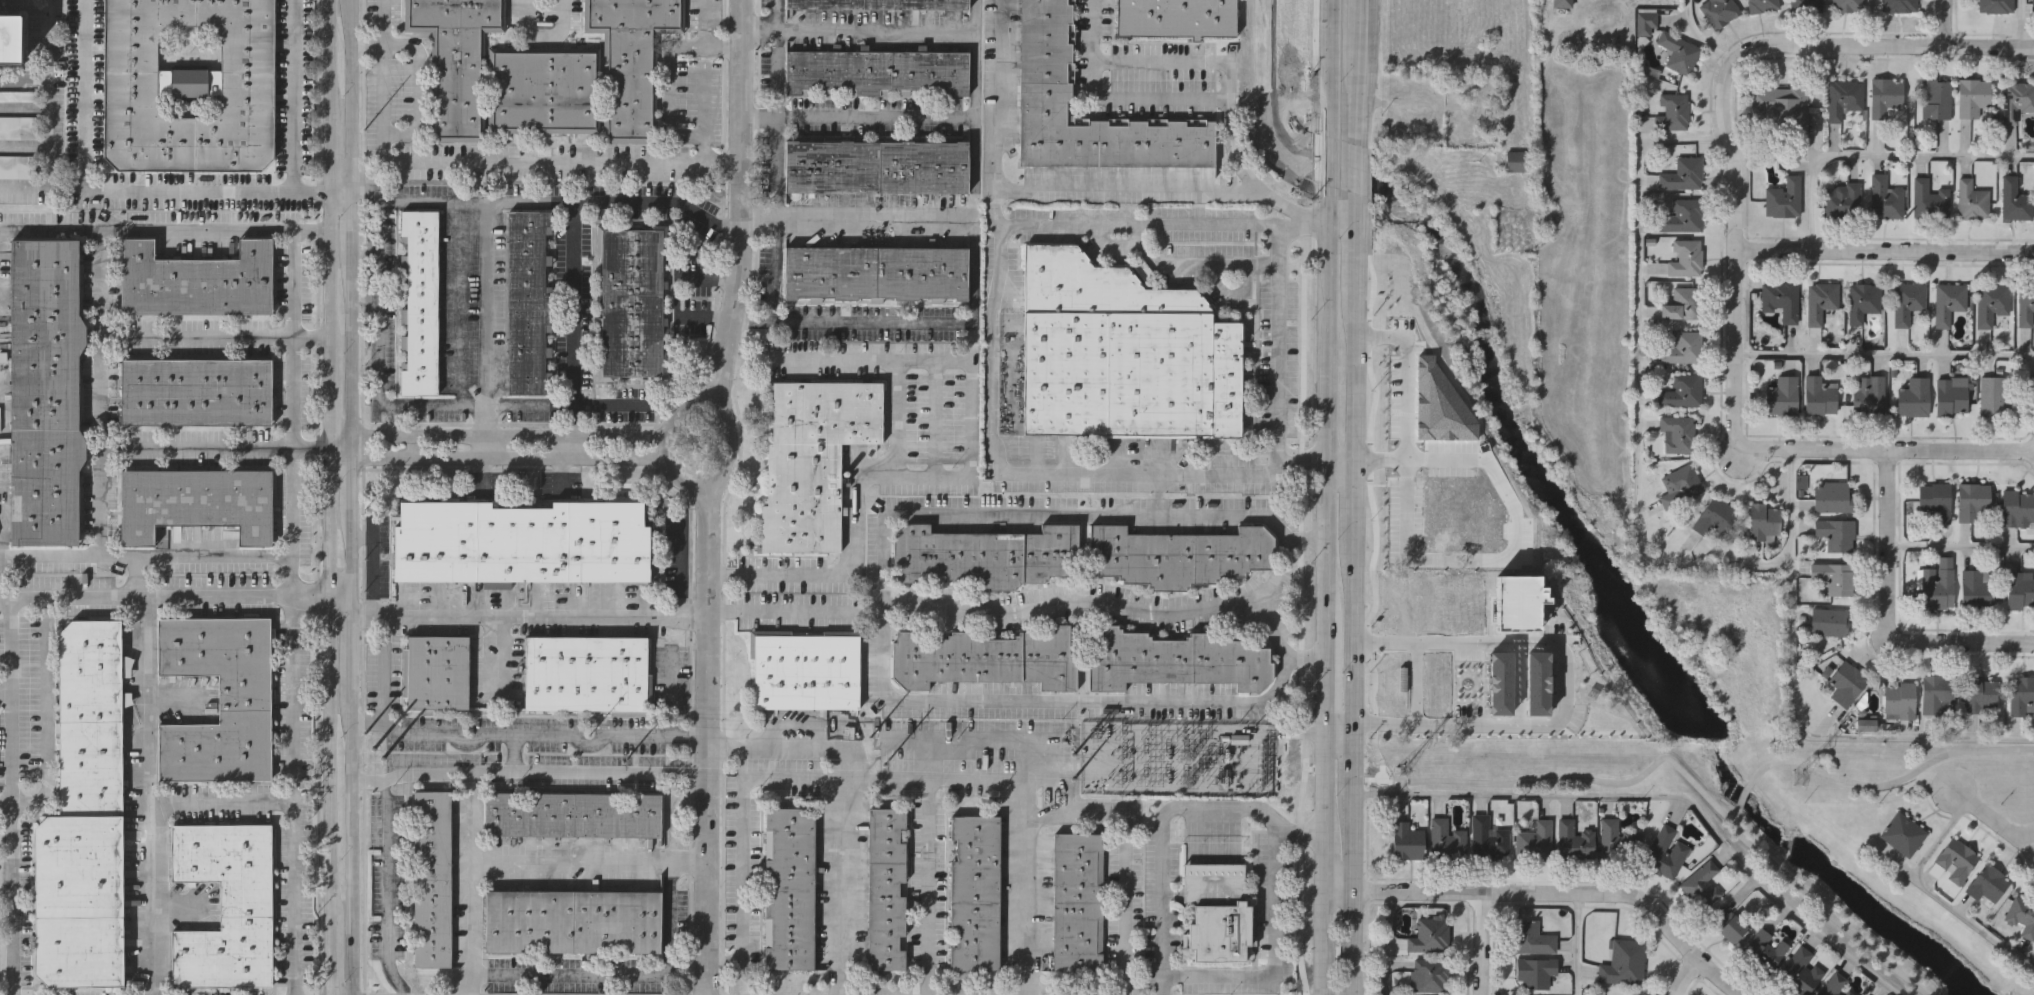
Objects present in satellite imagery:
building: (1561, 3)
building: (876, 4)
building: (1760, 5)
building: (1804, 5)
building: (1845, 5)
building: (1898, 5)
building: (2032, 5)
building: (1994, 6)
building: (1718, 11)
road: (1355, 13)
building: (1173, 18)
road: (1872, 22)
road: (1942, 22)
building: (1643, 23)
road: (2022, 23)
road: (876, 29)
road: (545, 35)
road: (1700, 37)
road: (777, 40)
building: (9, 41)
road: (703, 43)
road: (363, 45)
road: (1354, 50)
building: (1677, 52)
building: (455, 58)
building: (630, 59)
road: (1181, 62)
road: (1326, 66)
building: (876, 70)
building: (1046, 75)
road: (23, 82)
building: (188, 88)
building: (543, 91)
road: (291, 96)
road: (378, 96)
building: (18, 97)
parking lot: (18, 97)
building: (1884, 97)
road: (1724, 98)
building: (1842, 98)
building: (1971, 98)
building: (1934, 99)
building: (2016, 101)
road: (1190, 108)
road: (1353, 108)
building: (1781, 108)
road: (974, 109)
building: (1672, 113)
road: (47, 115)
road: (874, 116)
road: (758, 119)
road: (775, 122)
building: (18, 127)
parking lot: (18, 127)
road: (675, 133)
road: (1880, 156)
building: (1517, 161)
road: (1326, 163)
road: (540, 164)
road: (709, 164)
building: (16, 165)
parking lot: (16, 165)
building: (876, 167)
road: (1352, 172)
building: (1682, 175)
road: (63, 184)
road: (1122, 188)
road: (94, 191)
road: (335, 191)
road: (308, 192)
road: (742, 196)
building: (1883, 198)
road: (618, 199)
building: (1783, 199)
building: (1841, 200)
building: (1928, 200)
building: (1971, 201)
building: (2014, 201)
road: (776, 208)
building: (1681, 215)
road: (1158, 226)
road: (1339, 226)
road: (162, 227)
road: (1131, 235)
road: (487, 247)
road: (1884, 249)
building: (1685, 256)
road: (1351, 257)
road: (1173, 264)
building: (876, 272)
road: (973, 273)
building: (197, 278)
road: (101, 283)
road: (677, 292)
building: (1781, 298)
building: (1821, 299)
building: (1863, 299)
building: (1907, 300)
building: (1949, 300)
building: (1681, 301)
building: (1991, 302)
road: (459, 303)
building: (526, 303)
road: (571, 303)
building: (630, 303)
building: (418, 304)
building: (2025, 304)
road: (309, 336)
road: (972, 338)
road: (1279, 344)
building: (1682, 346)
road: (378, 351)
road: (99, 353)
building: (1120, 354)
road: (1883, 356)
building: (2030, 382)
road: (1351, 386)
road: (1638, 387)
building: (198, 389)
building: (1681, 392)
building: (47, 394)
building: (1994, 394)
building: (1951, 395)
building: (1782, 396)
building: (1868, 396)
road: (1403, 397)
building: (1819, 397)
building: (1912, 397)
road: (1324, 398)
road: (543, 405)
road: (624, 405)
road: (991, 409)
road: (892, 415)
building: (1677, 433)
road: (493, 434)
road: (662, 443)
road: (196, 444)
road: (310, 444)
road: (487, 445)
road: (570, 445)
road: (1884, 448)
road: (736, 452)
road: (492, 456)
building: (814, 458)
road: (969, 467)
building: (1679, 485)
building: (1833, 496)
road: (327, 497)
road: (350, 497)
building: (1935, 500)
building: (1973, 500)
building: (196, 505)
building: (2017, 507)
road: (1350, 513)
building: (1714, 517)
building: (1762, 522)
building: (1836, 533)
road: (362, 535)
road: (295, 538)
building: (522, 542)
road: (1960, 549)
building: (984, 556)
building: (1179, 556)
road: (678, 559)
road: (374, 570)
road: (291, 572)
road: (140, 574)
building: (1831, 577)
building: (1937, 585)
road: (340, 586)
road: (165, 588)
building: (1976, 589)
building: (2018, 591)
road: (1265, 595)
road: (1075, 599)
building: (1407, 601)
building: (1456, 603)
building: (1515, 604)
road: (528, 606)
road: (774, 608)
road: (1886, 615)
road: (884, 618)
building: (1829, 623)
building: (1400, 631)
road: (1350, 643)
building: (985, 659)
building: (1175, 661)
building: (806, 667)
road: (1324, 670)
building: (439, 672)
building: (588, 674)
road: (1567, 676)
building: (1394, 681)
building: (1431, 682)
road: (4, 683)
building: (1497, 683)
building: (1847, 683)
building: (1534, 684)
building: (1938, 693)
building: (1979, 693)
building: (2021, 694)
road: (145, 695)
road: (668, 698)
building: (220, 701)
building: (1899, 701)
building: (1412, 707)
road: (1792, 709)
building: (1551, 711)
road: (366, 721)
road: (1350, 729)
road: (1337, 737)
road: (484, 738)
road: (907, 742)
road: (979, 744)
road: (788, 745)
road: (706, 754)
road: (512, 756)
power substation: (1173, 758)
road: (741, 763)
road: (1676, 764)
power tower: (1403, 770)
road: (547, 774)
road: (930, 778)
road: (1064, 778)
power tower: (1798, 779)
road: (1324, 783)
road: (1895, 786)
road: (291, 791)
road: (9, 792)
road: (1661, 797)
road: (1744, 800)
road: (5, 802)
building: (574, 814)
road: (1160, 817)
road: (1993, 817)
building: (83, 819)
road: (470, 819)
road: (159, 828)
building: (1903, 833)
building: (1446, 839)
building: (1487, 839)
building: (1406, 840)
building: (1534, 840)
building: (1574, 840)
building: (1615, 842)
building: (1664, 854)
road: (1324, 860)
building: (1956, 860)
road: (522, 862)
road: (1349, 866)
road: (387, 868)
building: (432, 877)
building: (1700, 884)
building: (1988, 885)
road: (838, 886)
road: (928, 886)
building: (791, 887)
building: (886, 890)
road: (1553, 892)
building: (975, 894)
road: (1935, 899)
building: (1077, 902)
road: (1029, 903)
building: (224, 905)
building: (1217, 912)
road: (667, 916)
building: (2021, 916)
building: (573, 920)
building: (1728, 926)
building: (1429, 935)
building: (1531, 938)
road: (1322, 942)
road: (1387, 942)
road: (1481, 943)
road: (1577, 944)
building: (1766, 948)
road: (1274, 954)
building: (1624, 963)
building: (1534, 972)
building: (1800, 972)
building: (1430, 974)
road: (1684, 975)
road: (587, 976)
building: (1833, 984)
building: (1849, 993)

